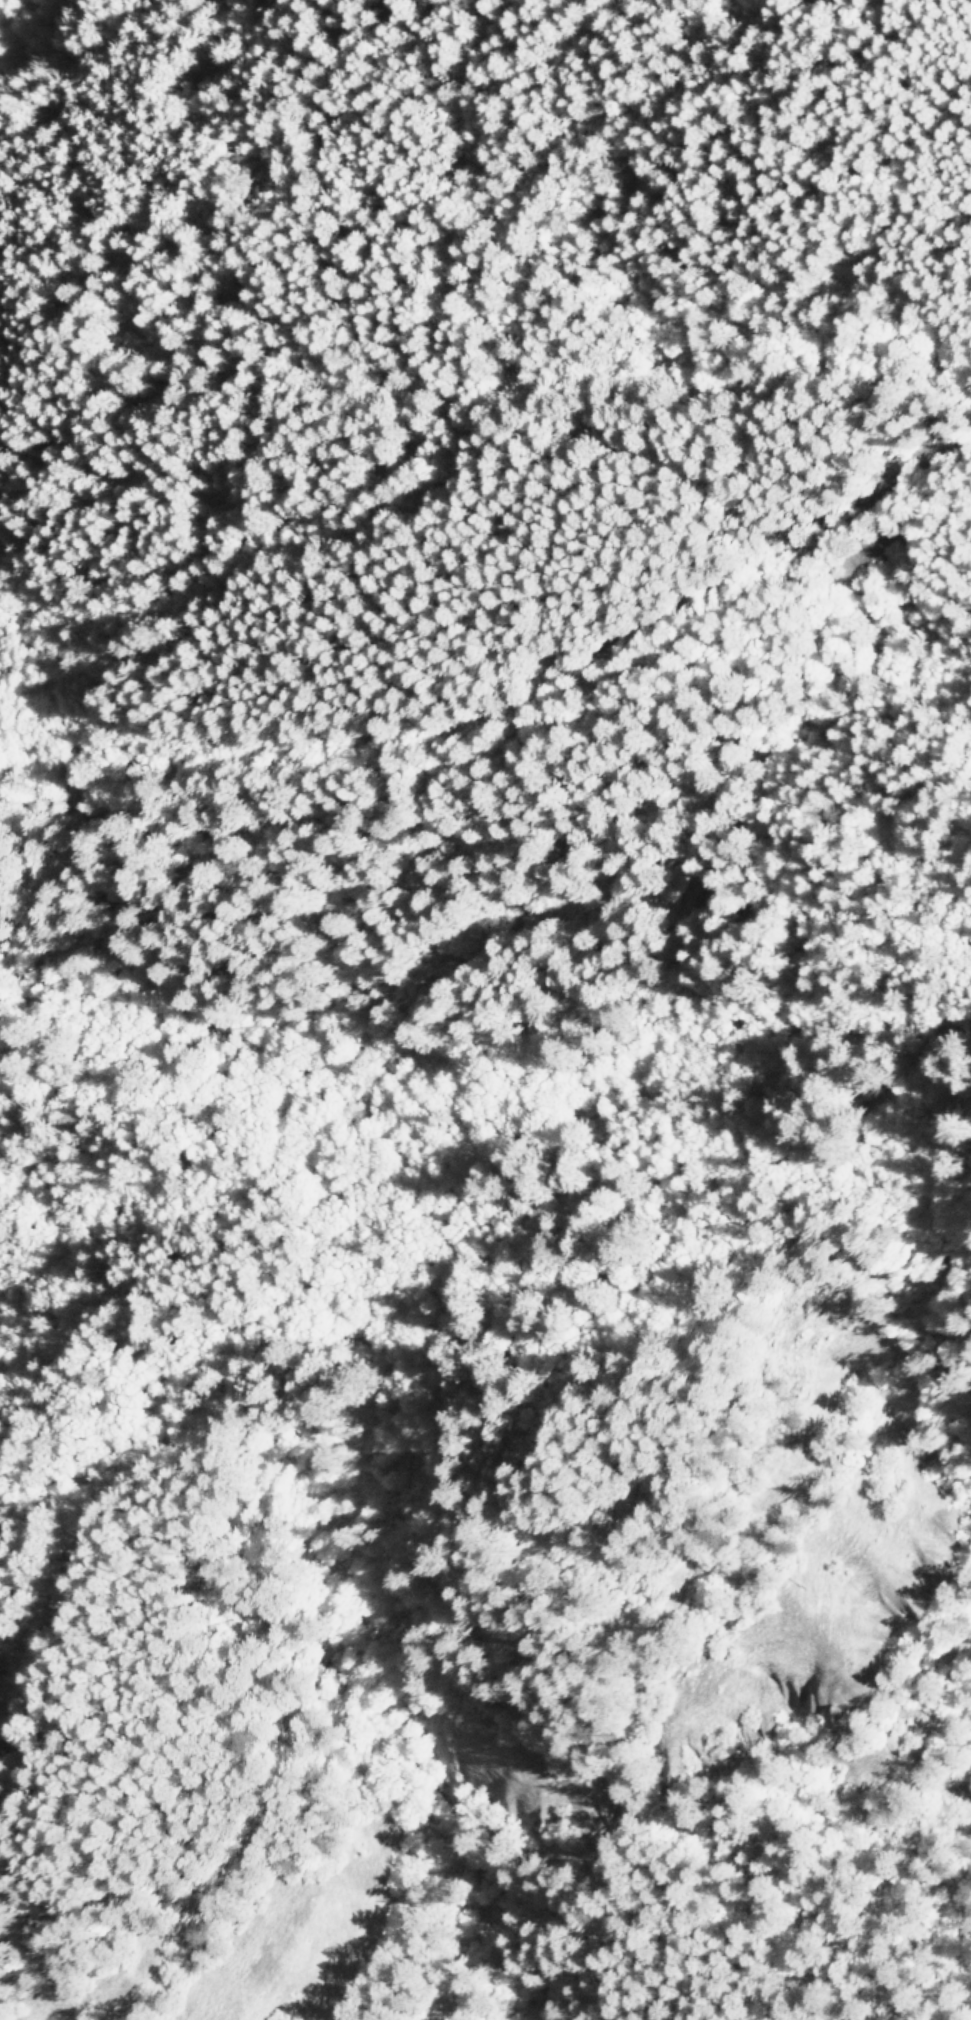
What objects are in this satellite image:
road: (415, 275)
road: (521, 706)

